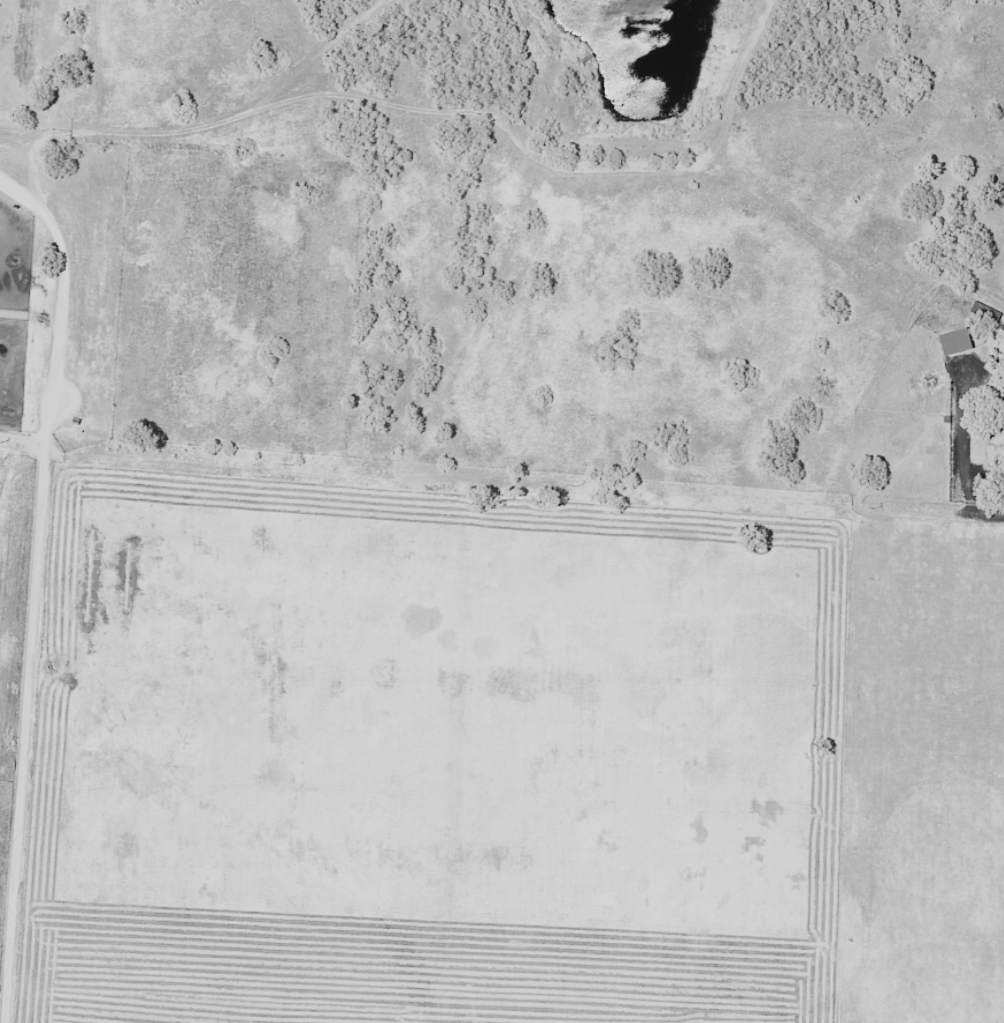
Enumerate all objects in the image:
building: (986, 312)
building: (955, 341)
building: (1003, 393)
building: (1002, 407)
road: (24, 440)
road: (962, 441)
power tower: (0, 442)
power tower: (293, 465)
power tower: (577, 485)
power tower: (873, 508)
road: (979, 508)
road: (37, 584)

